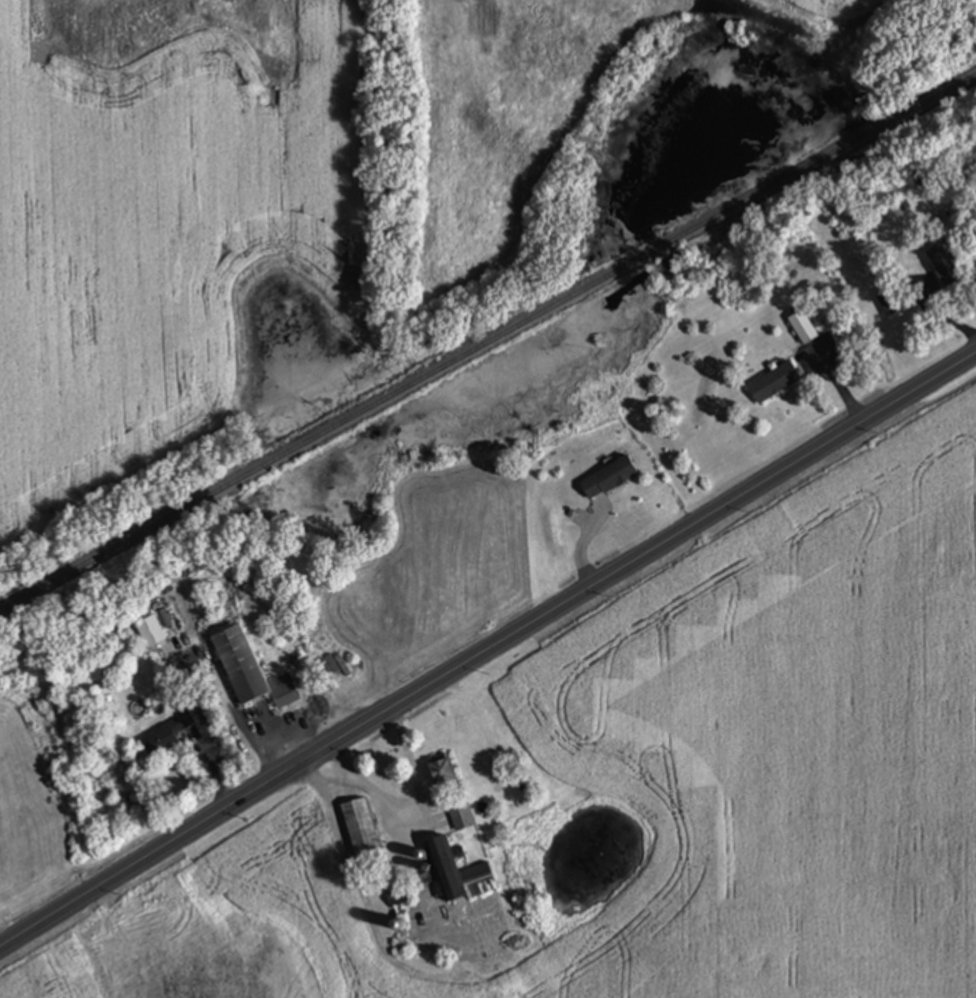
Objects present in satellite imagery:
building: (947, 267)
building: (891, 303)
building: (804, 328)
railway: (488, 342)
building: (775, 383)
building: (610, 480)
building: (153, 633)
road: (488, 650)
building: (252, 672)
building: (165, 736)
building: (446, 772)
building: (463, 815)
building: (362, 826)
building: (460, 872)

